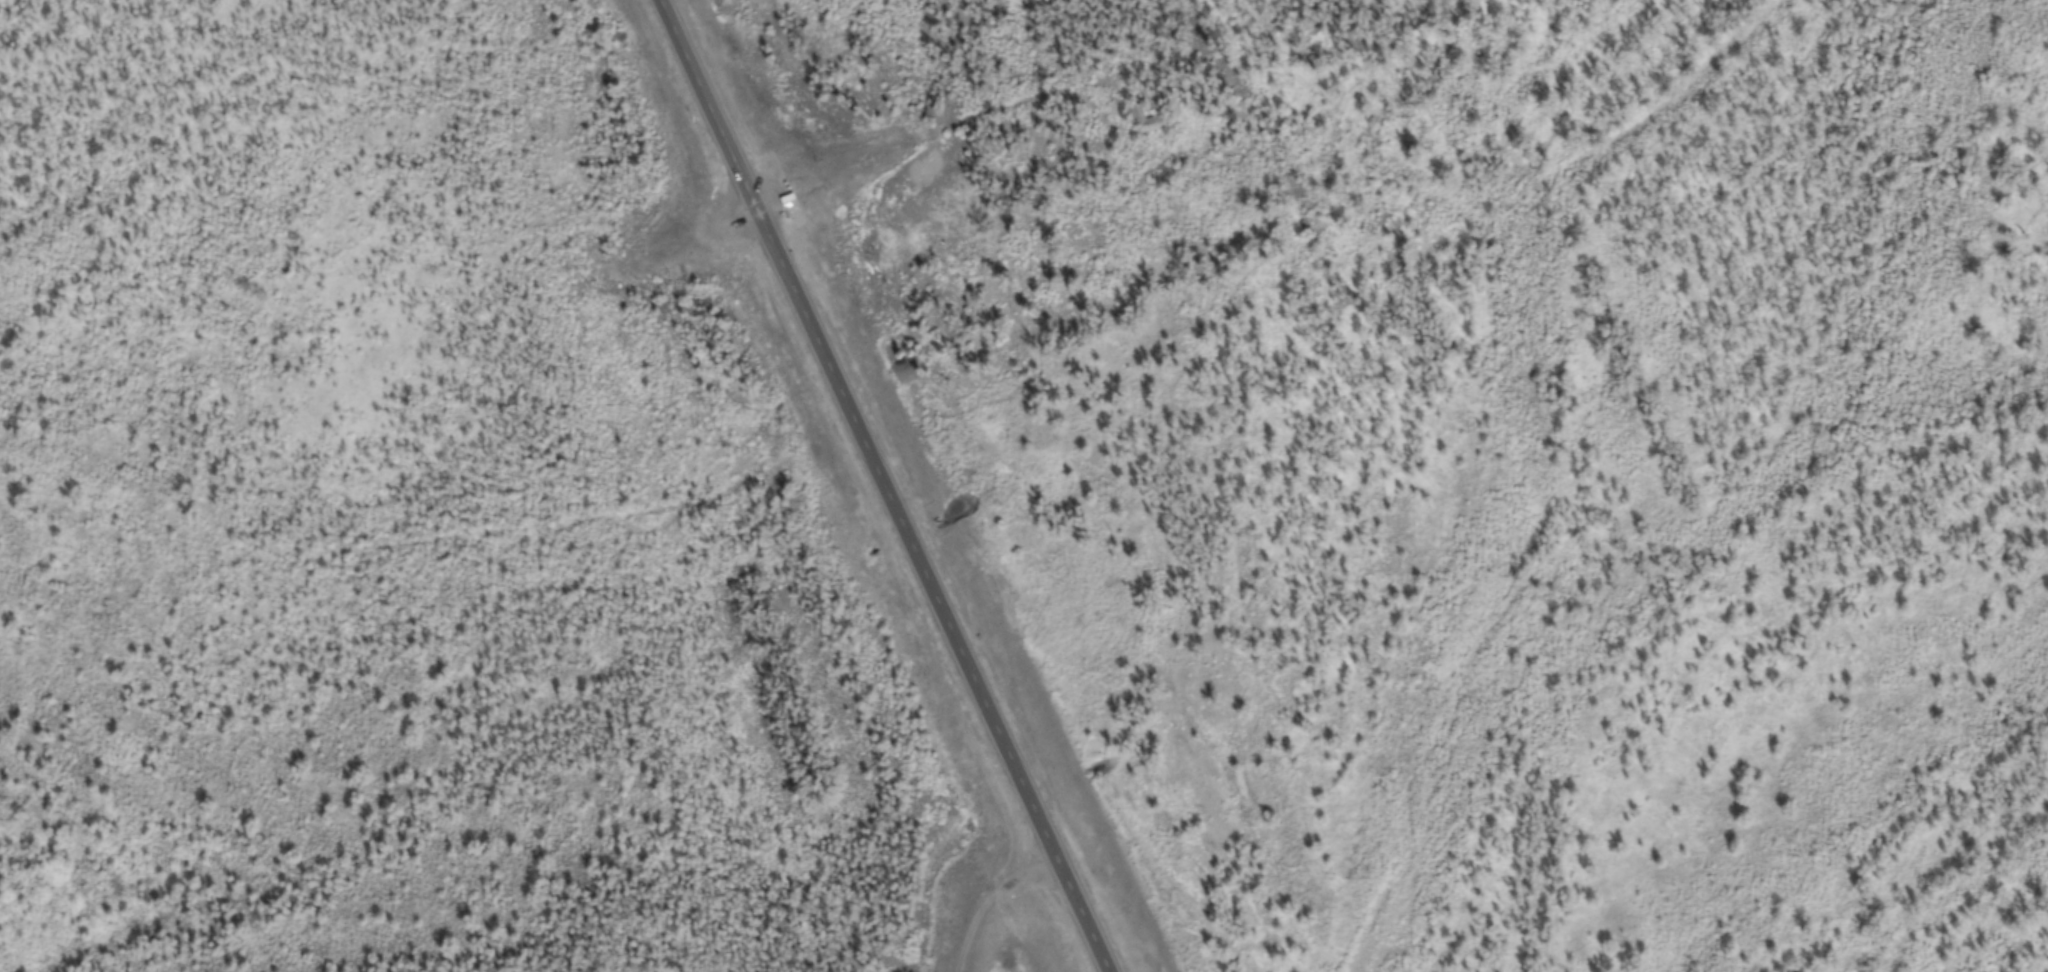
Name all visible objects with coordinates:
road: (878, 486)

